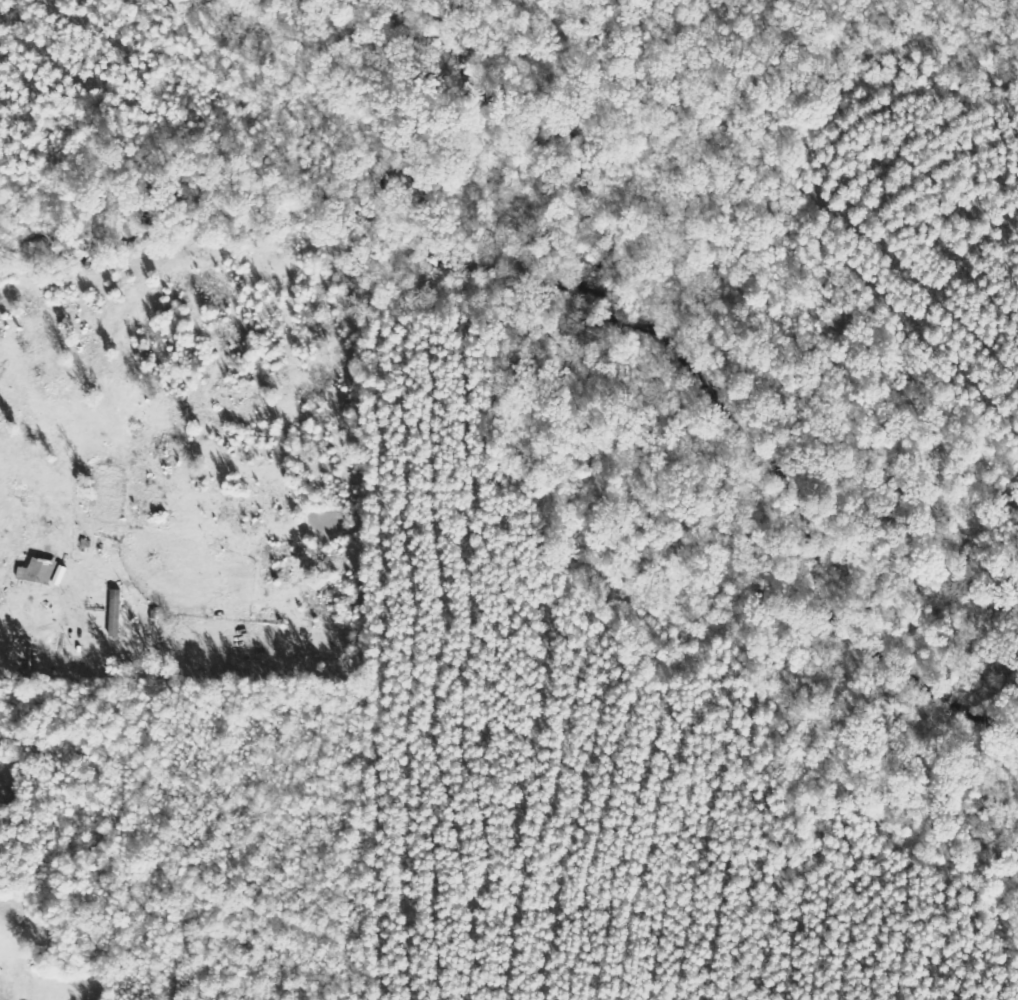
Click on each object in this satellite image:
building: (36, 570)
building: (113, 612)
road: (39, 625)

